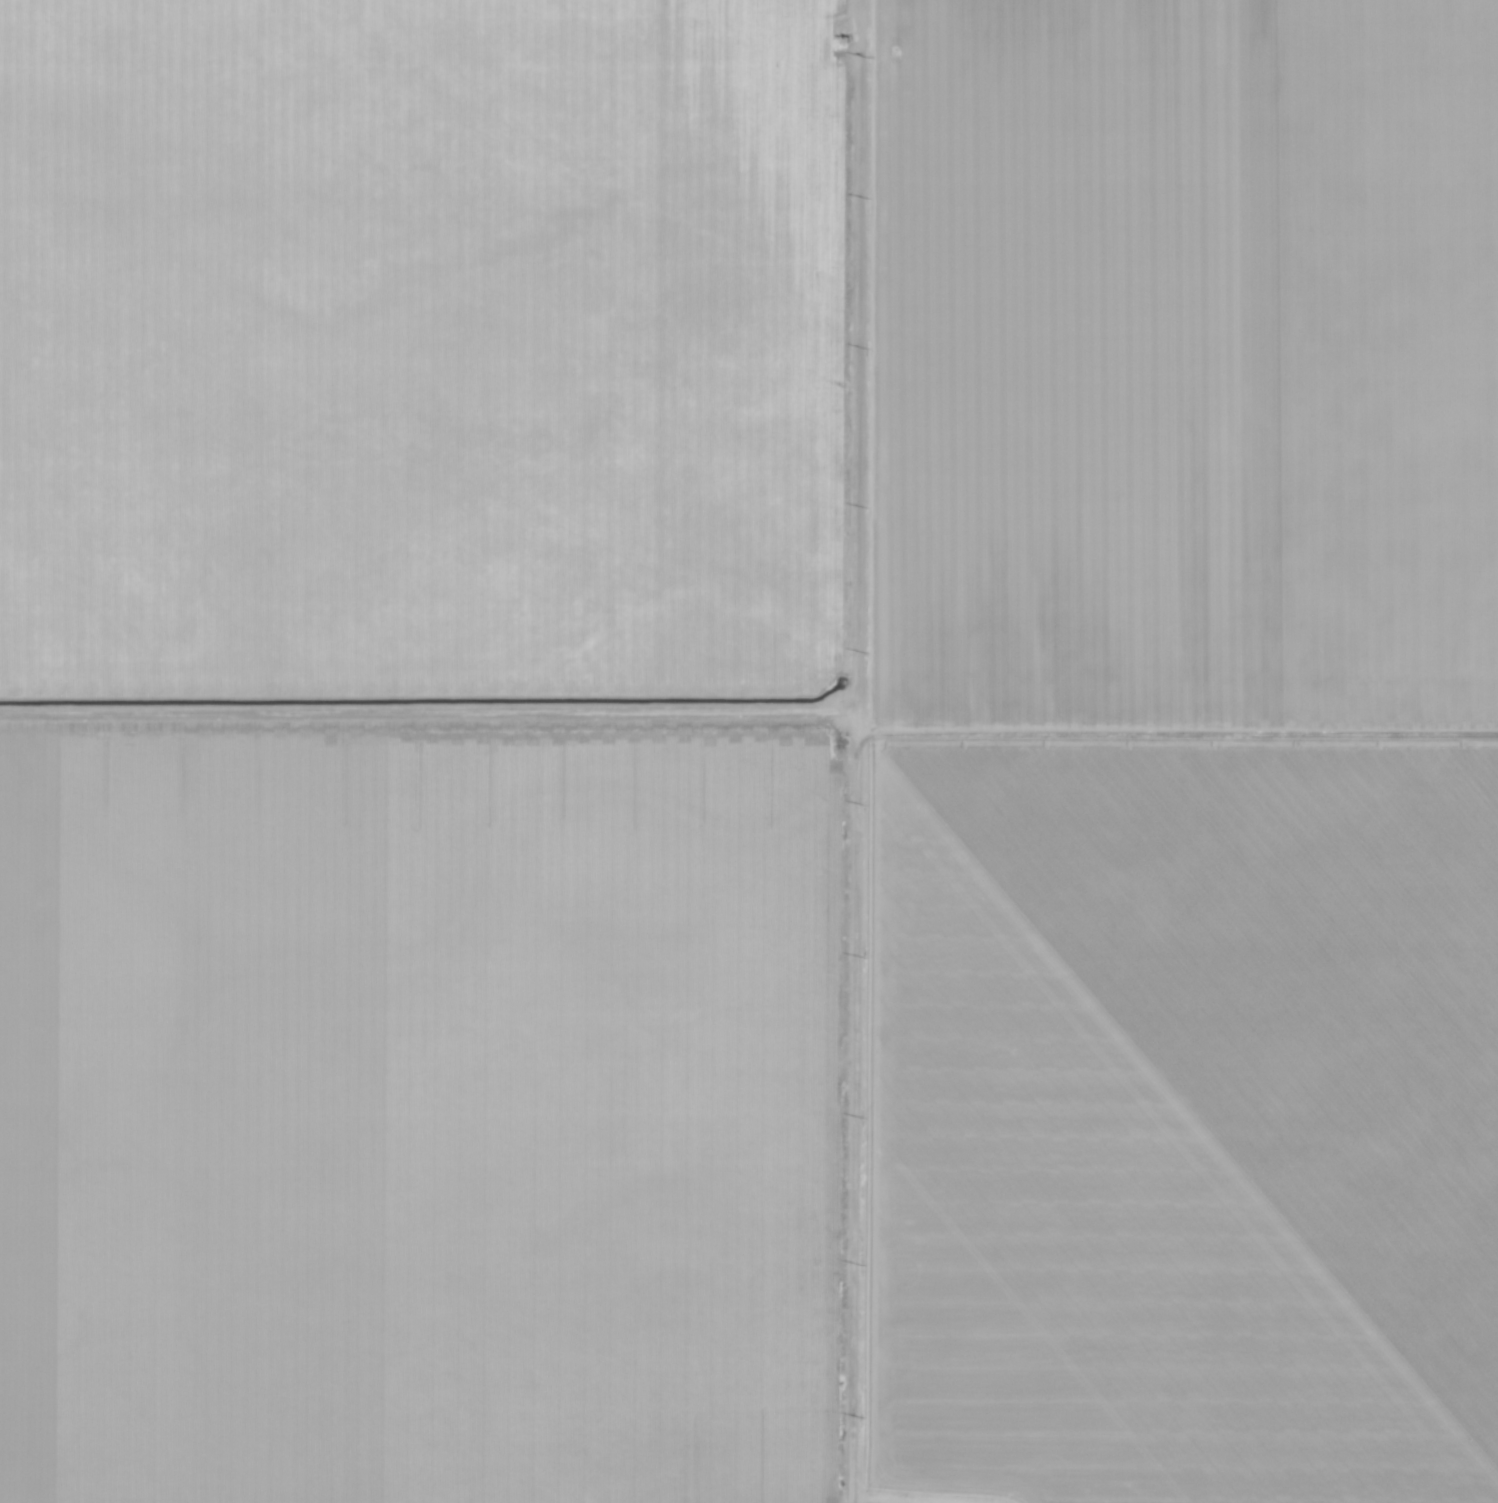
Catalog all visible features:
crop: (749, 751)

